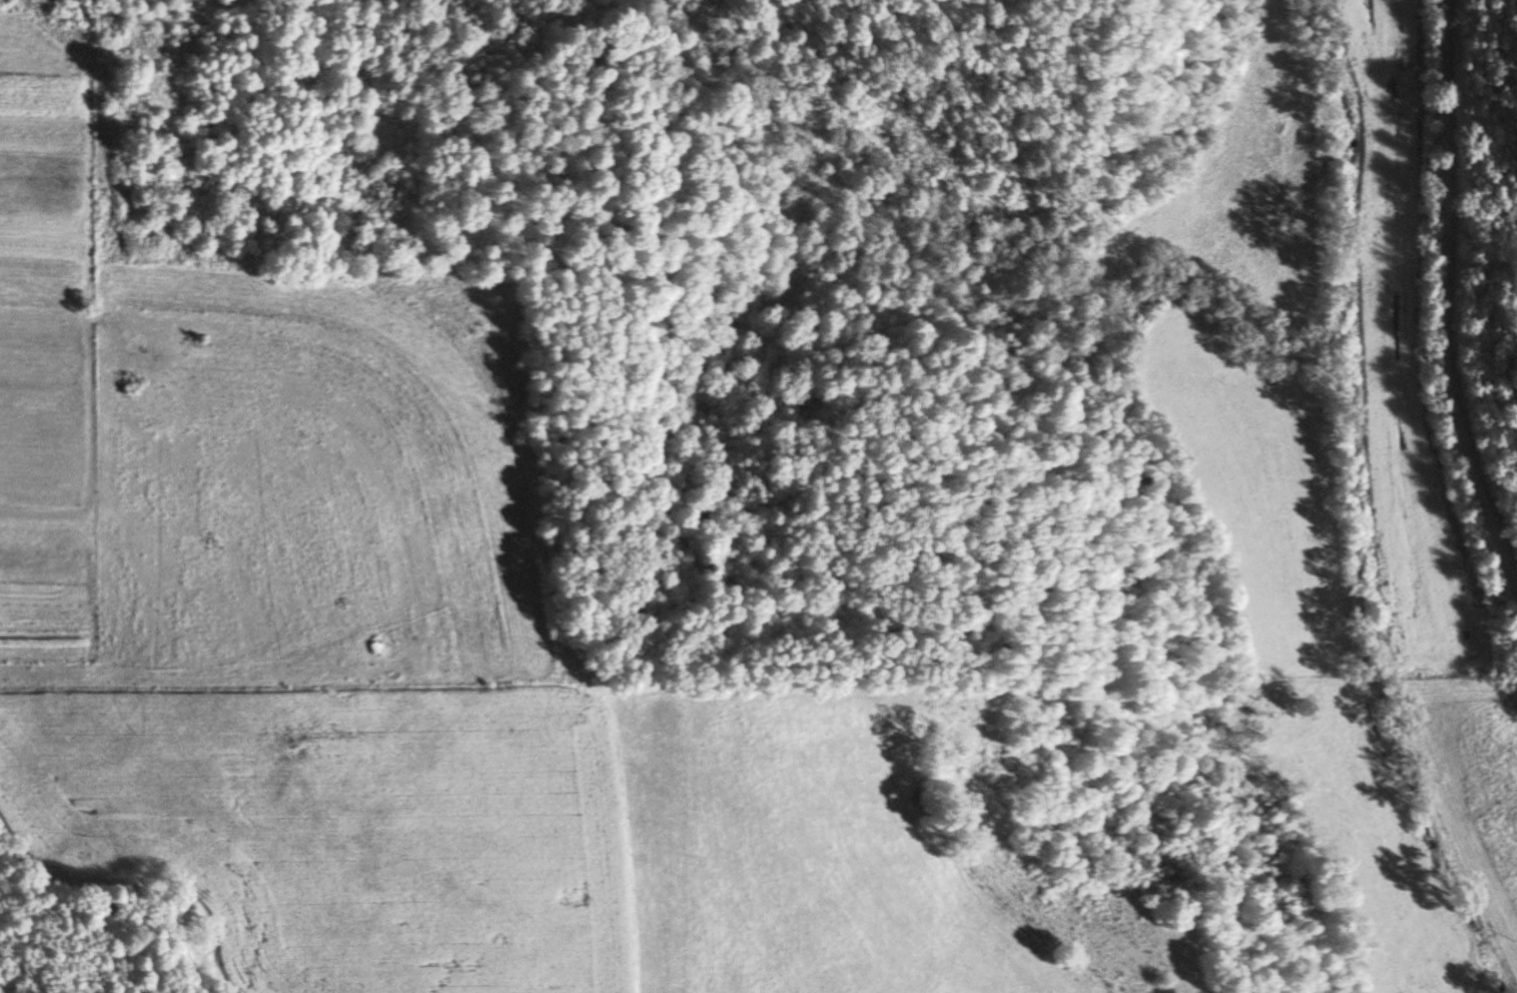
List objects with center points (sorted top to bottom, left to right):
crop: (1252, 193)
road: (1446, 301)
crop: (1407, 356)
crop: (42, 363)
crop: (1253, 464)
crop: (311, 476)
crop: (1466, 780)
crop: (365, 823)
crop: (1377, 837)
crop: (831, 887)

